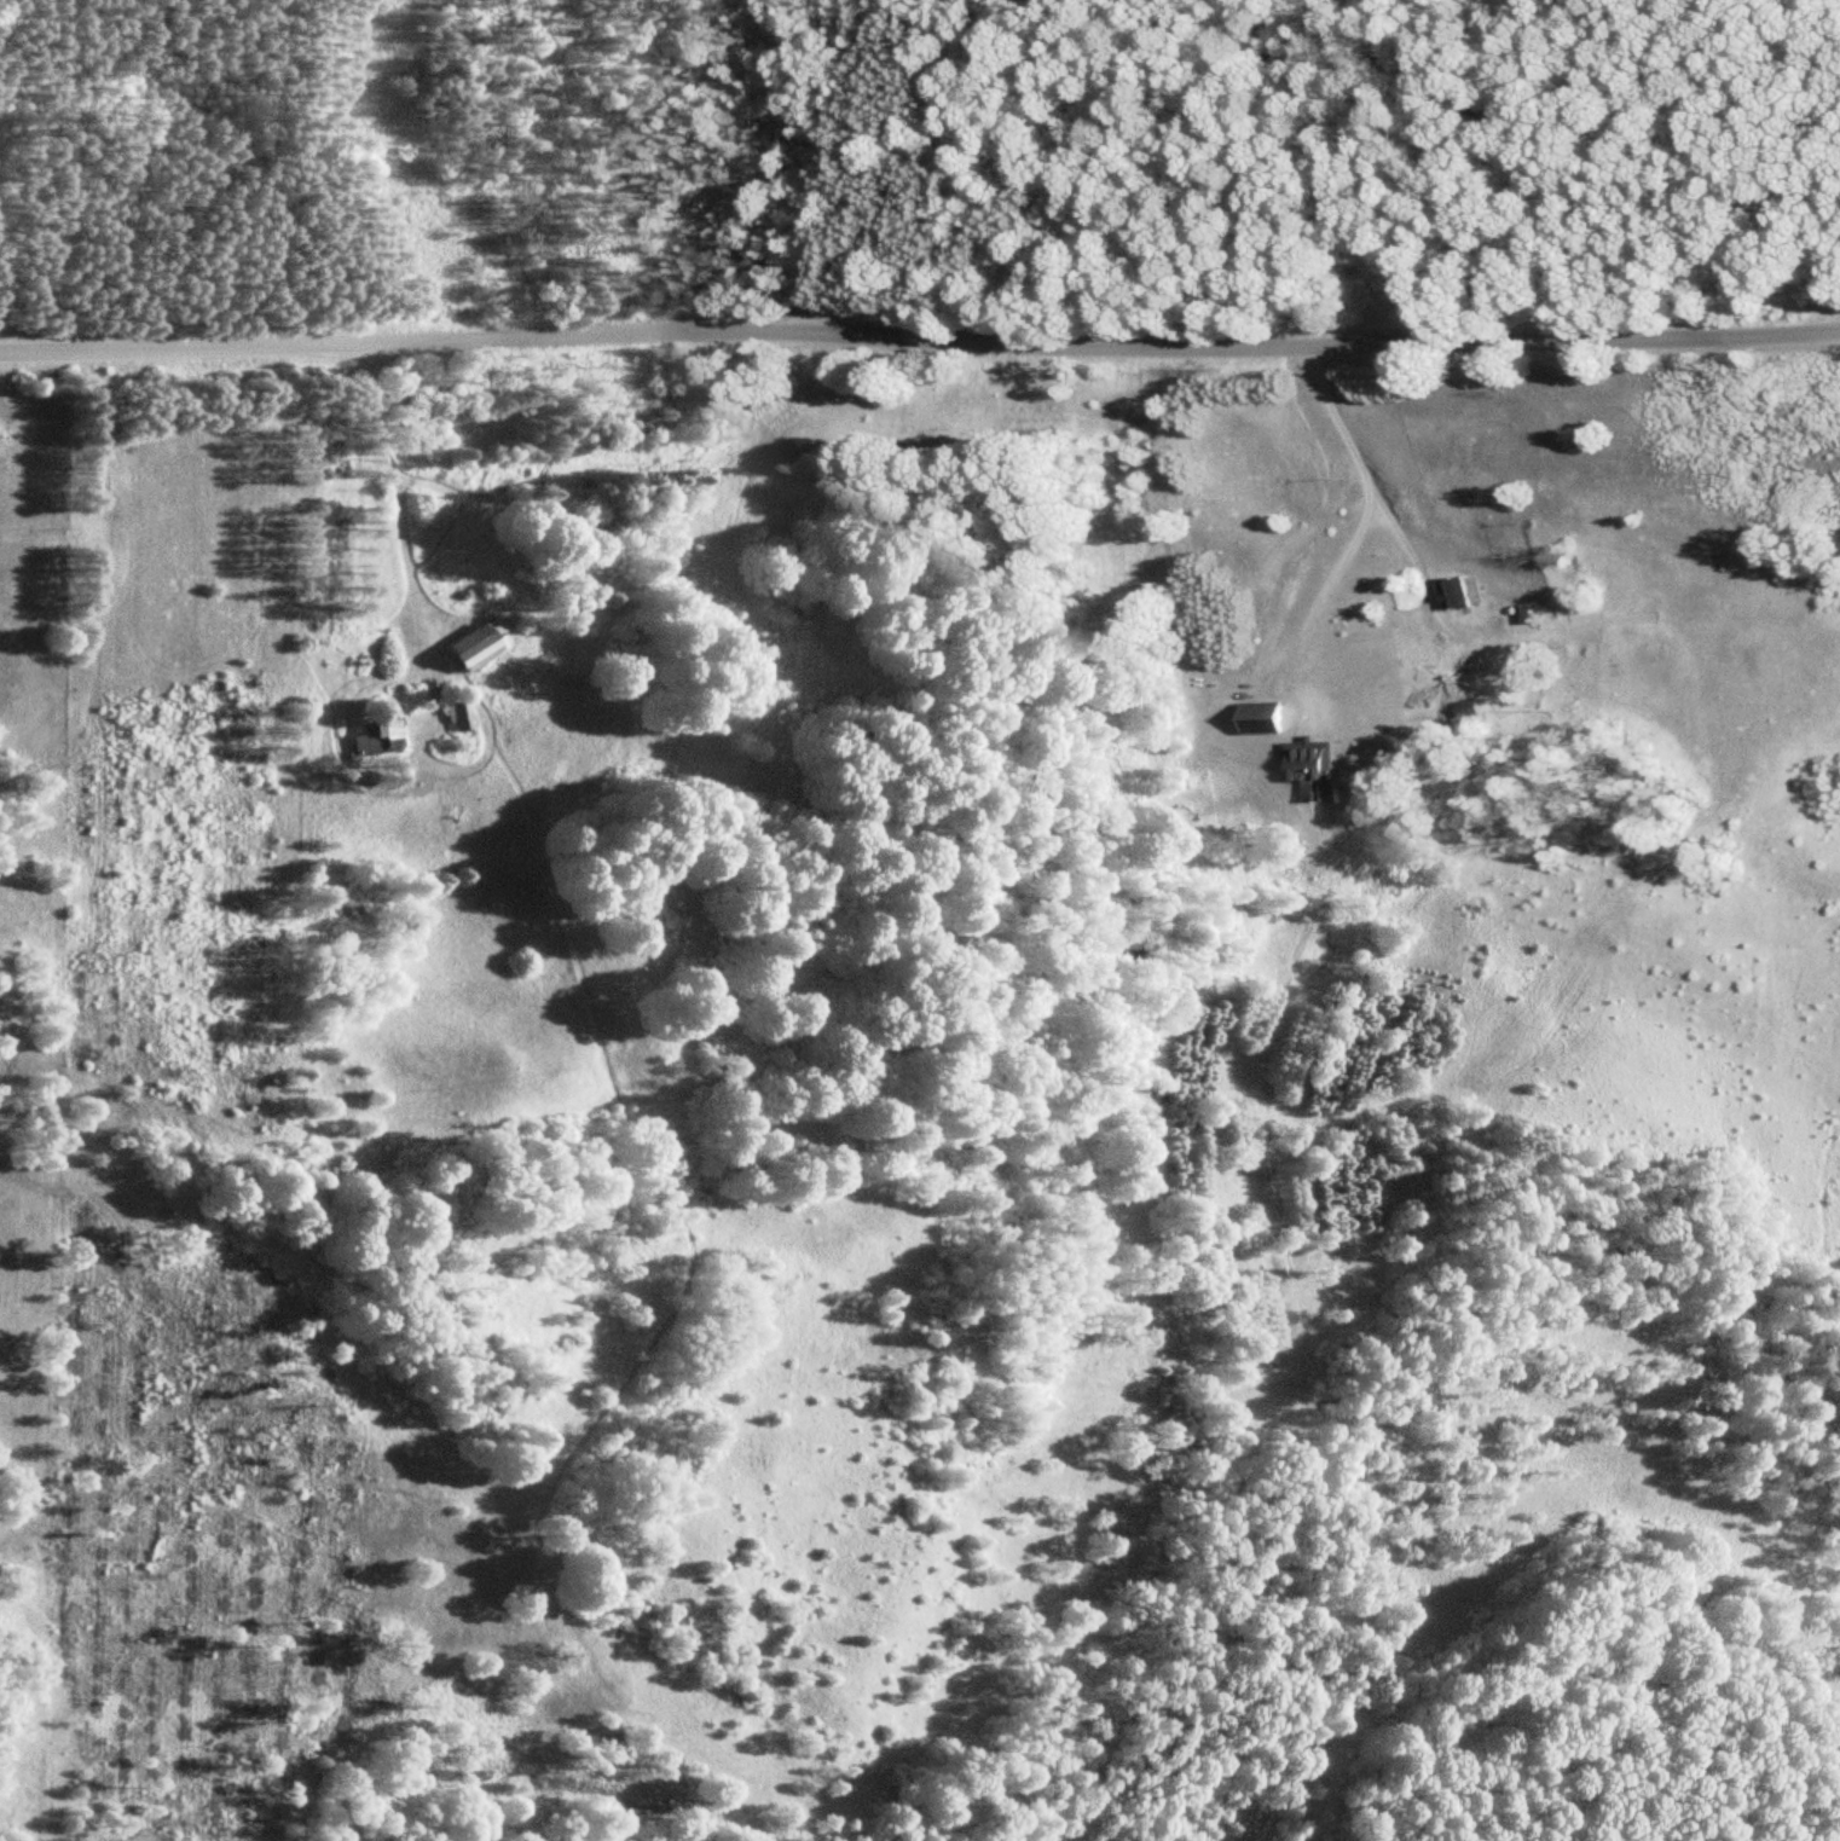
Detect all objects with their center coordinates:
road: (821, 158)
road: (1155, 343)
road: (235, 346)
road: (1359, 464)
road: (398, 503)
road: (1327, 580)
building: (1454, 590)
building: (476, 644)
building: (1466, 708)
building: (463, 713)
building: (1265, 716)
building: (377, 737)
building: (1318, 763)
road: (1613, 911)

